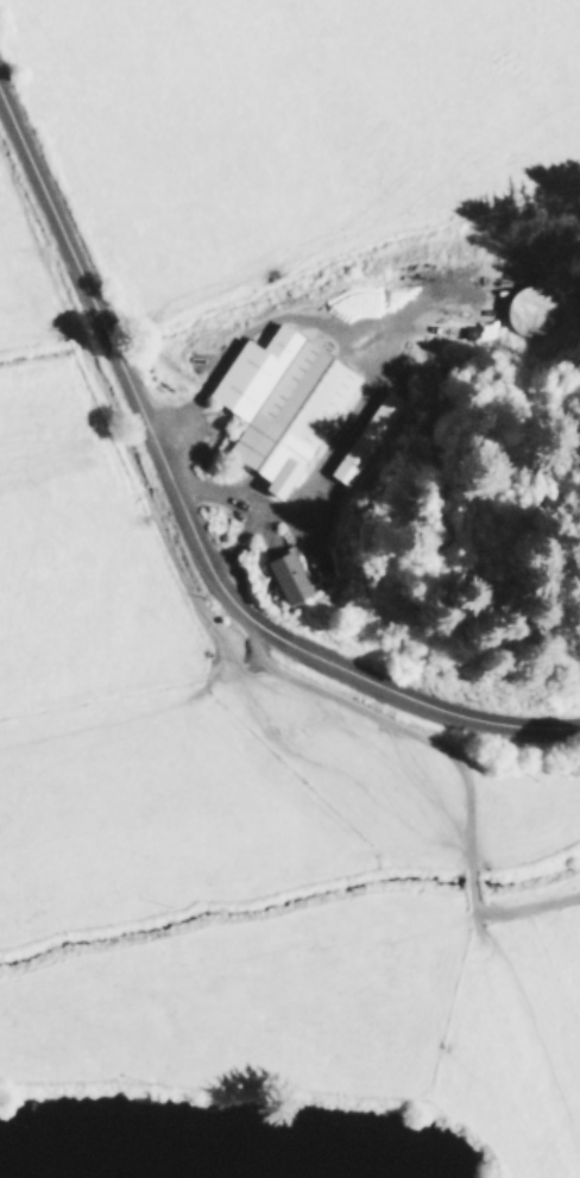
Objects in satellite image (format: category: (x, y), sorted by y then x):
building: (278, 402)
building: (365, 435)
road: (188, 519)
building: (286, 575)
crop: (264, 592)

